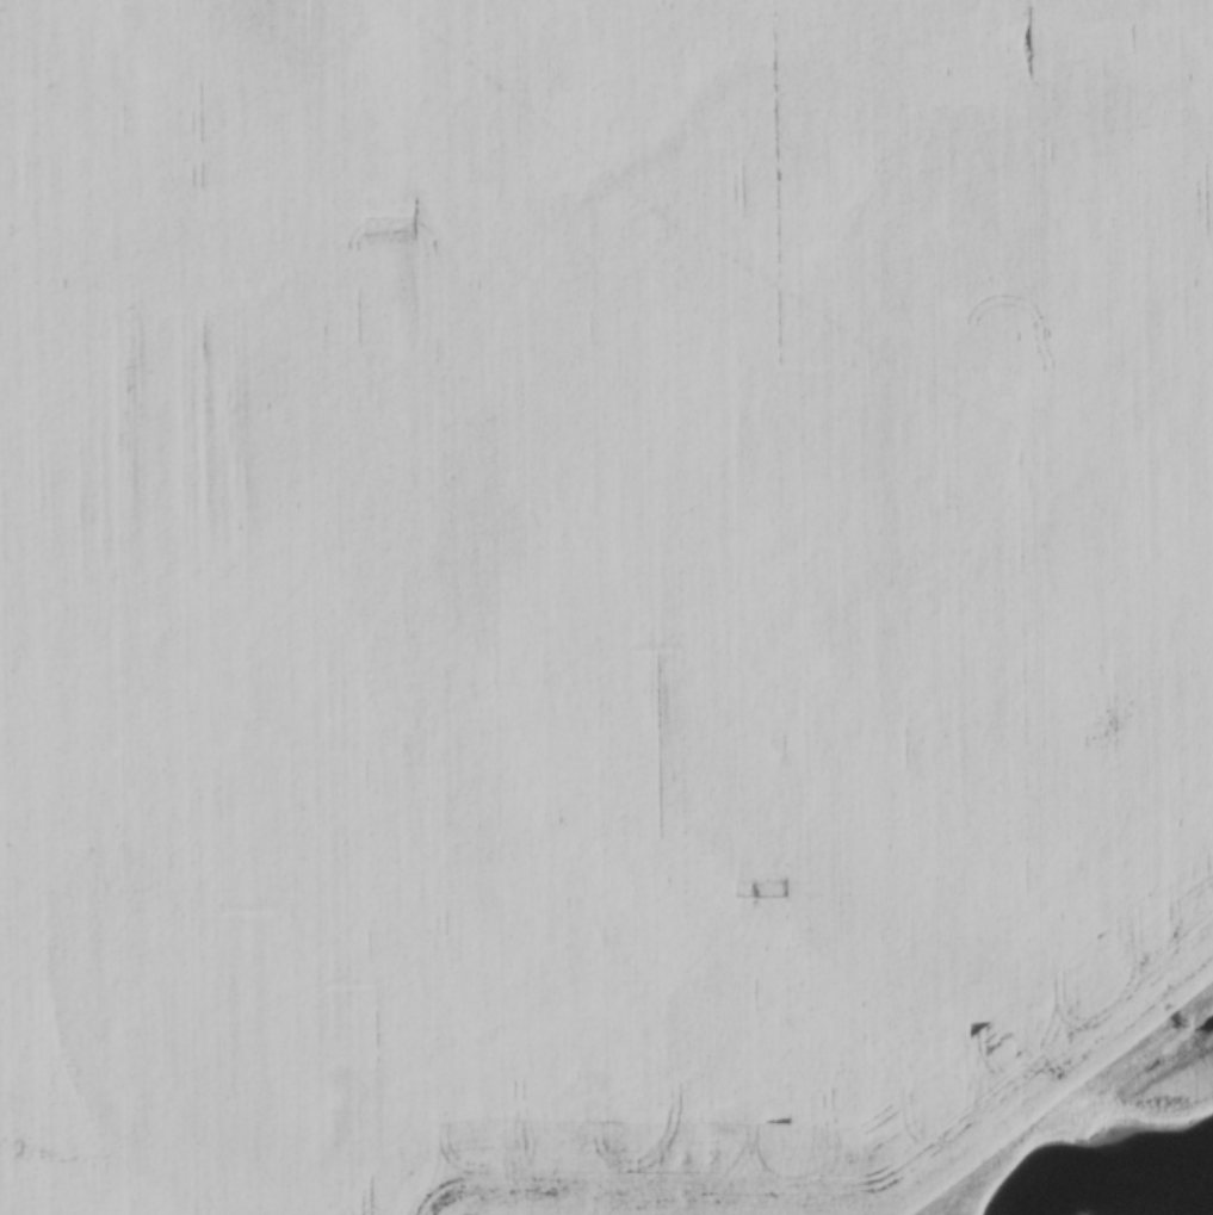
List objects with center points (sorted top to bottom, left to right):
river: (1106, 1192)
river: (1203, 1205)

